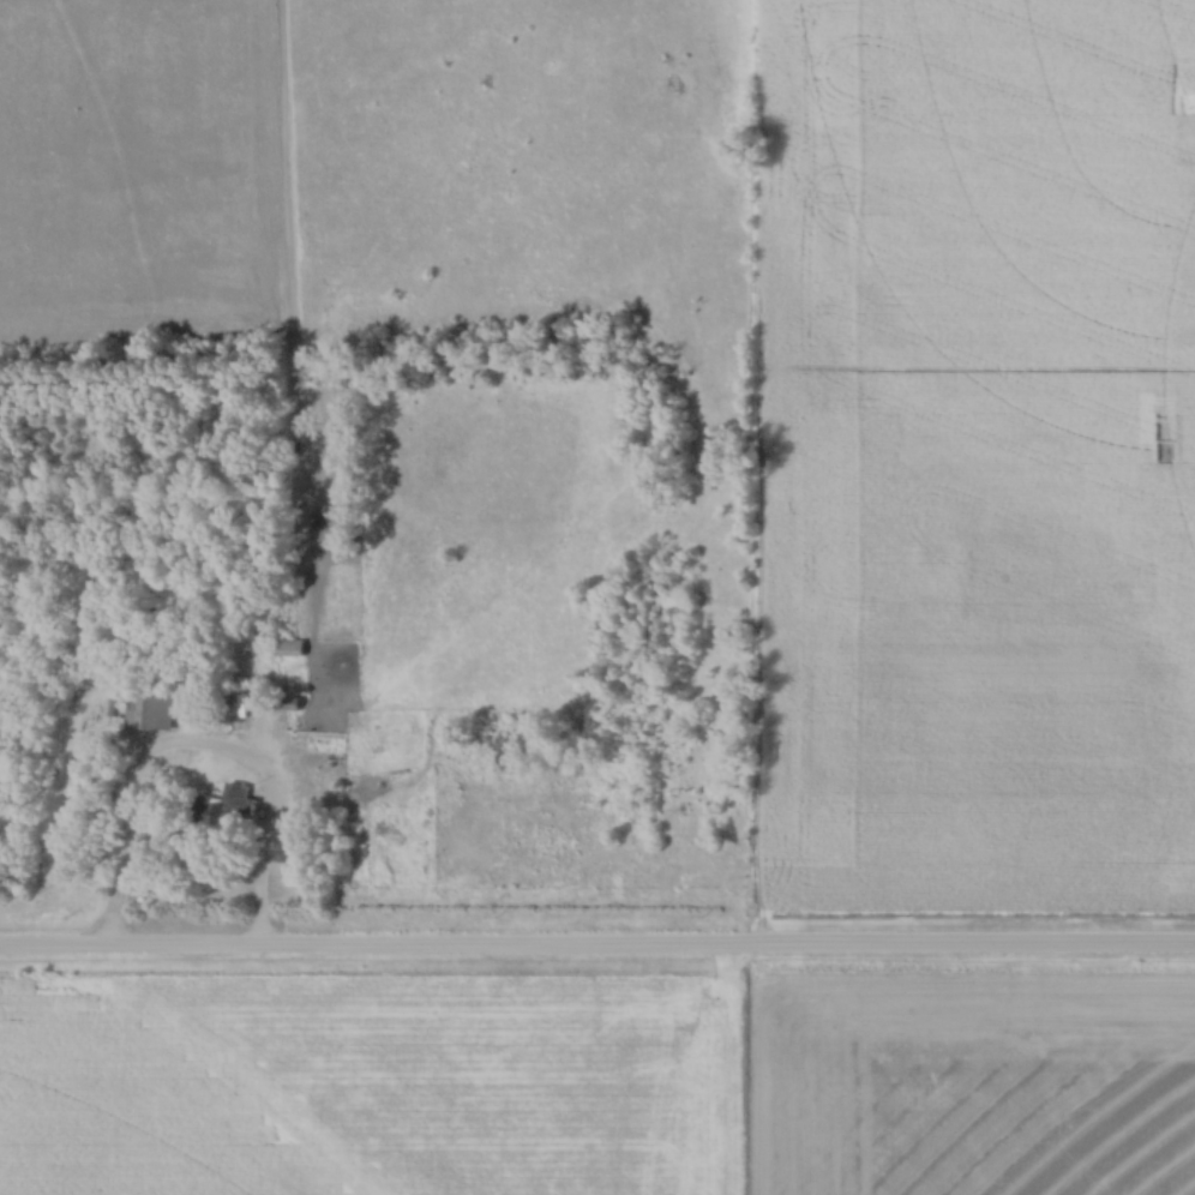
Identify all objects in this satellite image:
building: (290, 650)
building: (149, 715)
road: (198, 746)
building: (221, 810)
road: (596, 948)

